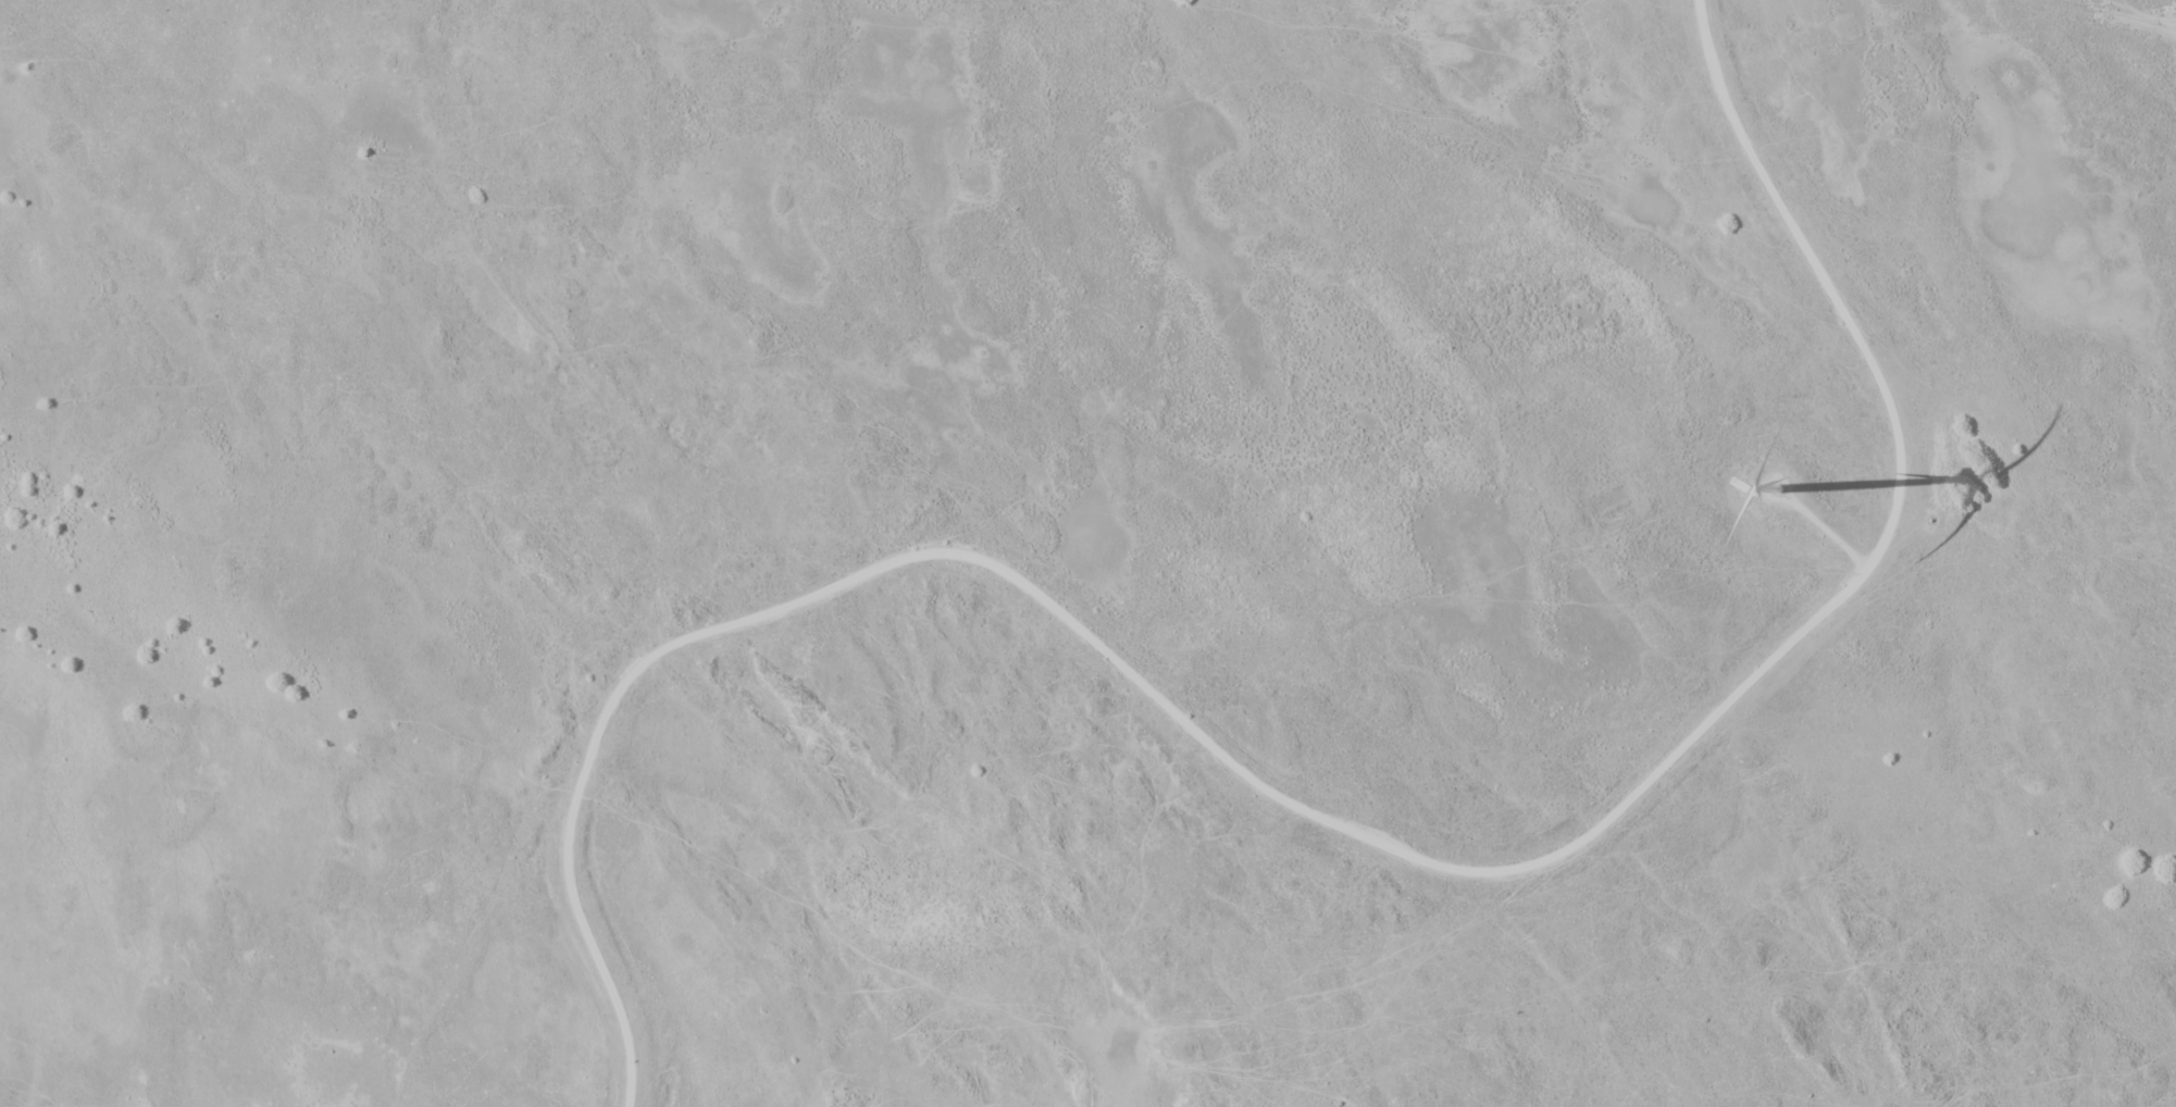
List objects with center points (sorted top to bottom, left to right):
wind turbine: (1786, 490)

